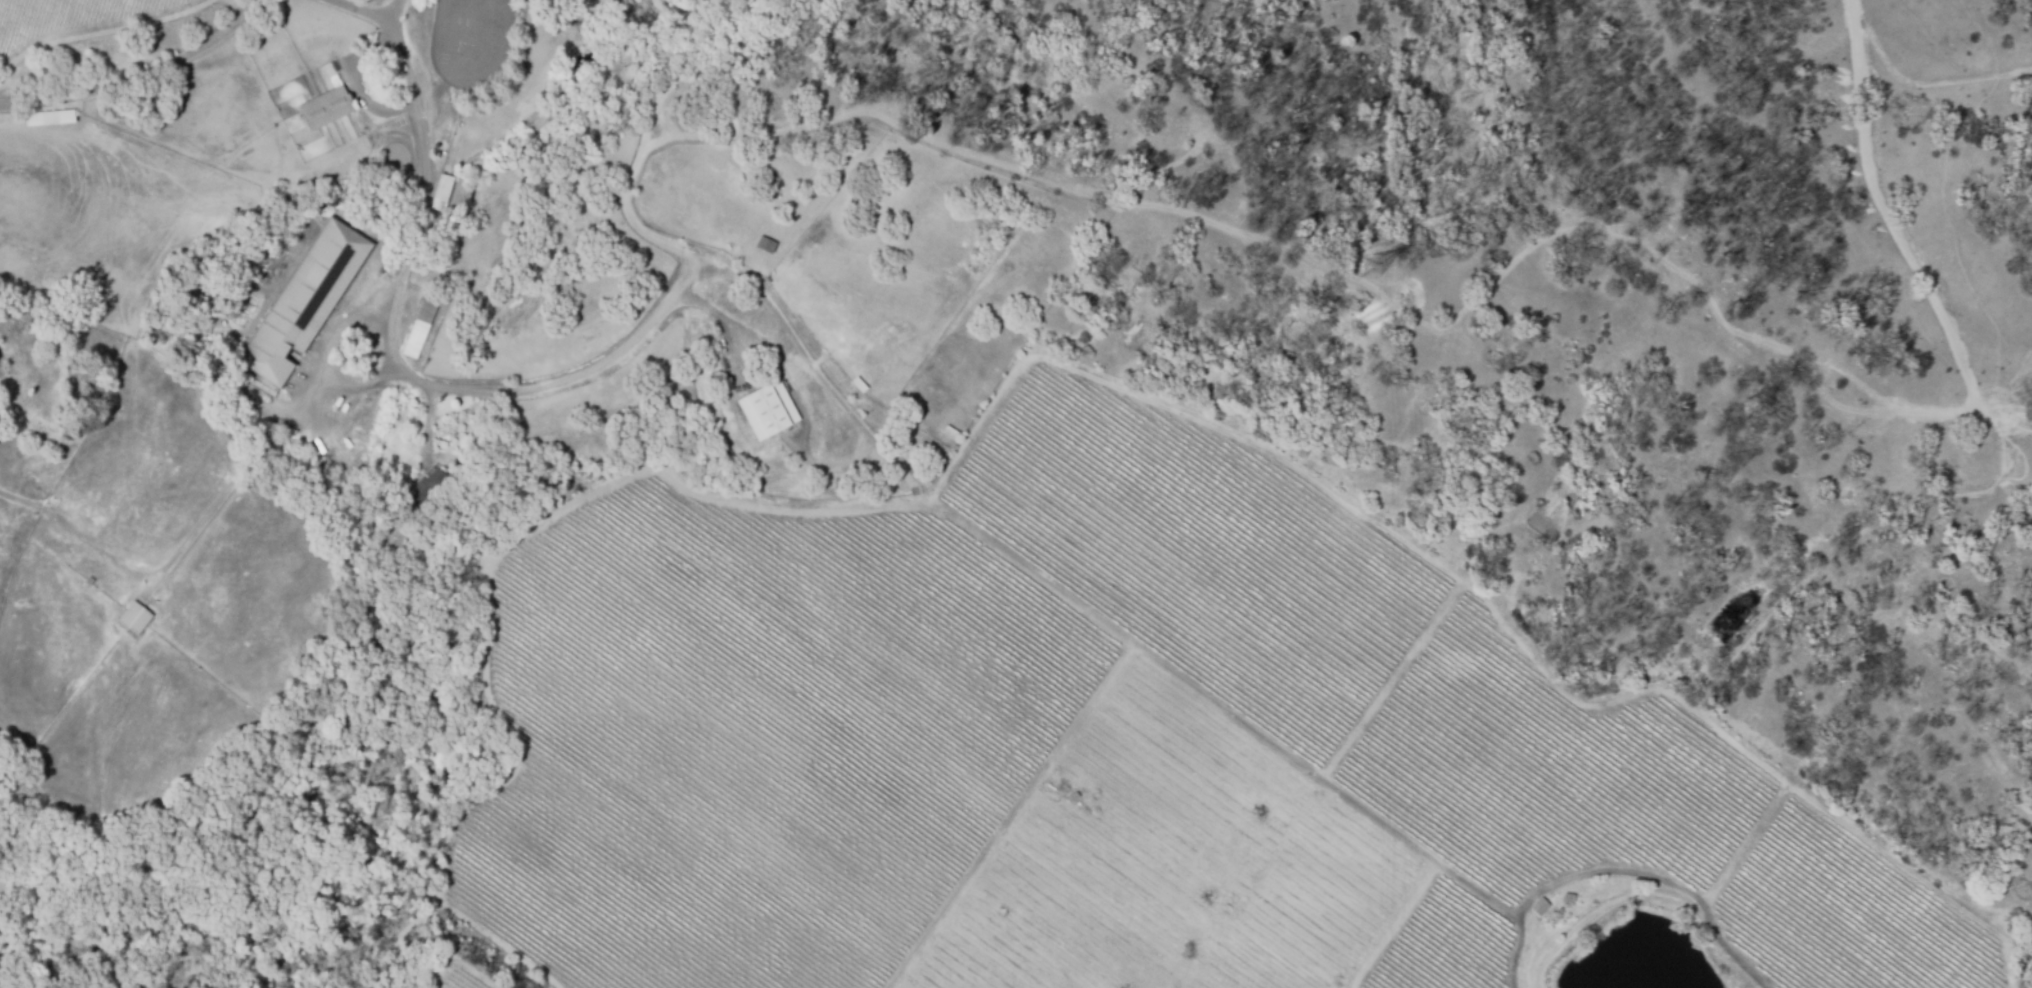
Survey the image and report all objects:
road: (393, 12)
road: (143, 70)
building: (329, 96)
building: (49, 118)
building: (442, 192)
building: (764, 246)
power tower: (1383, 269)
building: (308, 299)
building: (416, 324)
building: (721, 348)
road: (548, 384)
building: (1, 395)
building: (767, 410)
road: (893, 452)
building: (1657, 481)
building: (140, 609)
road: (1313, 770)
building: (1070, 798)
building: (1541, 907)

